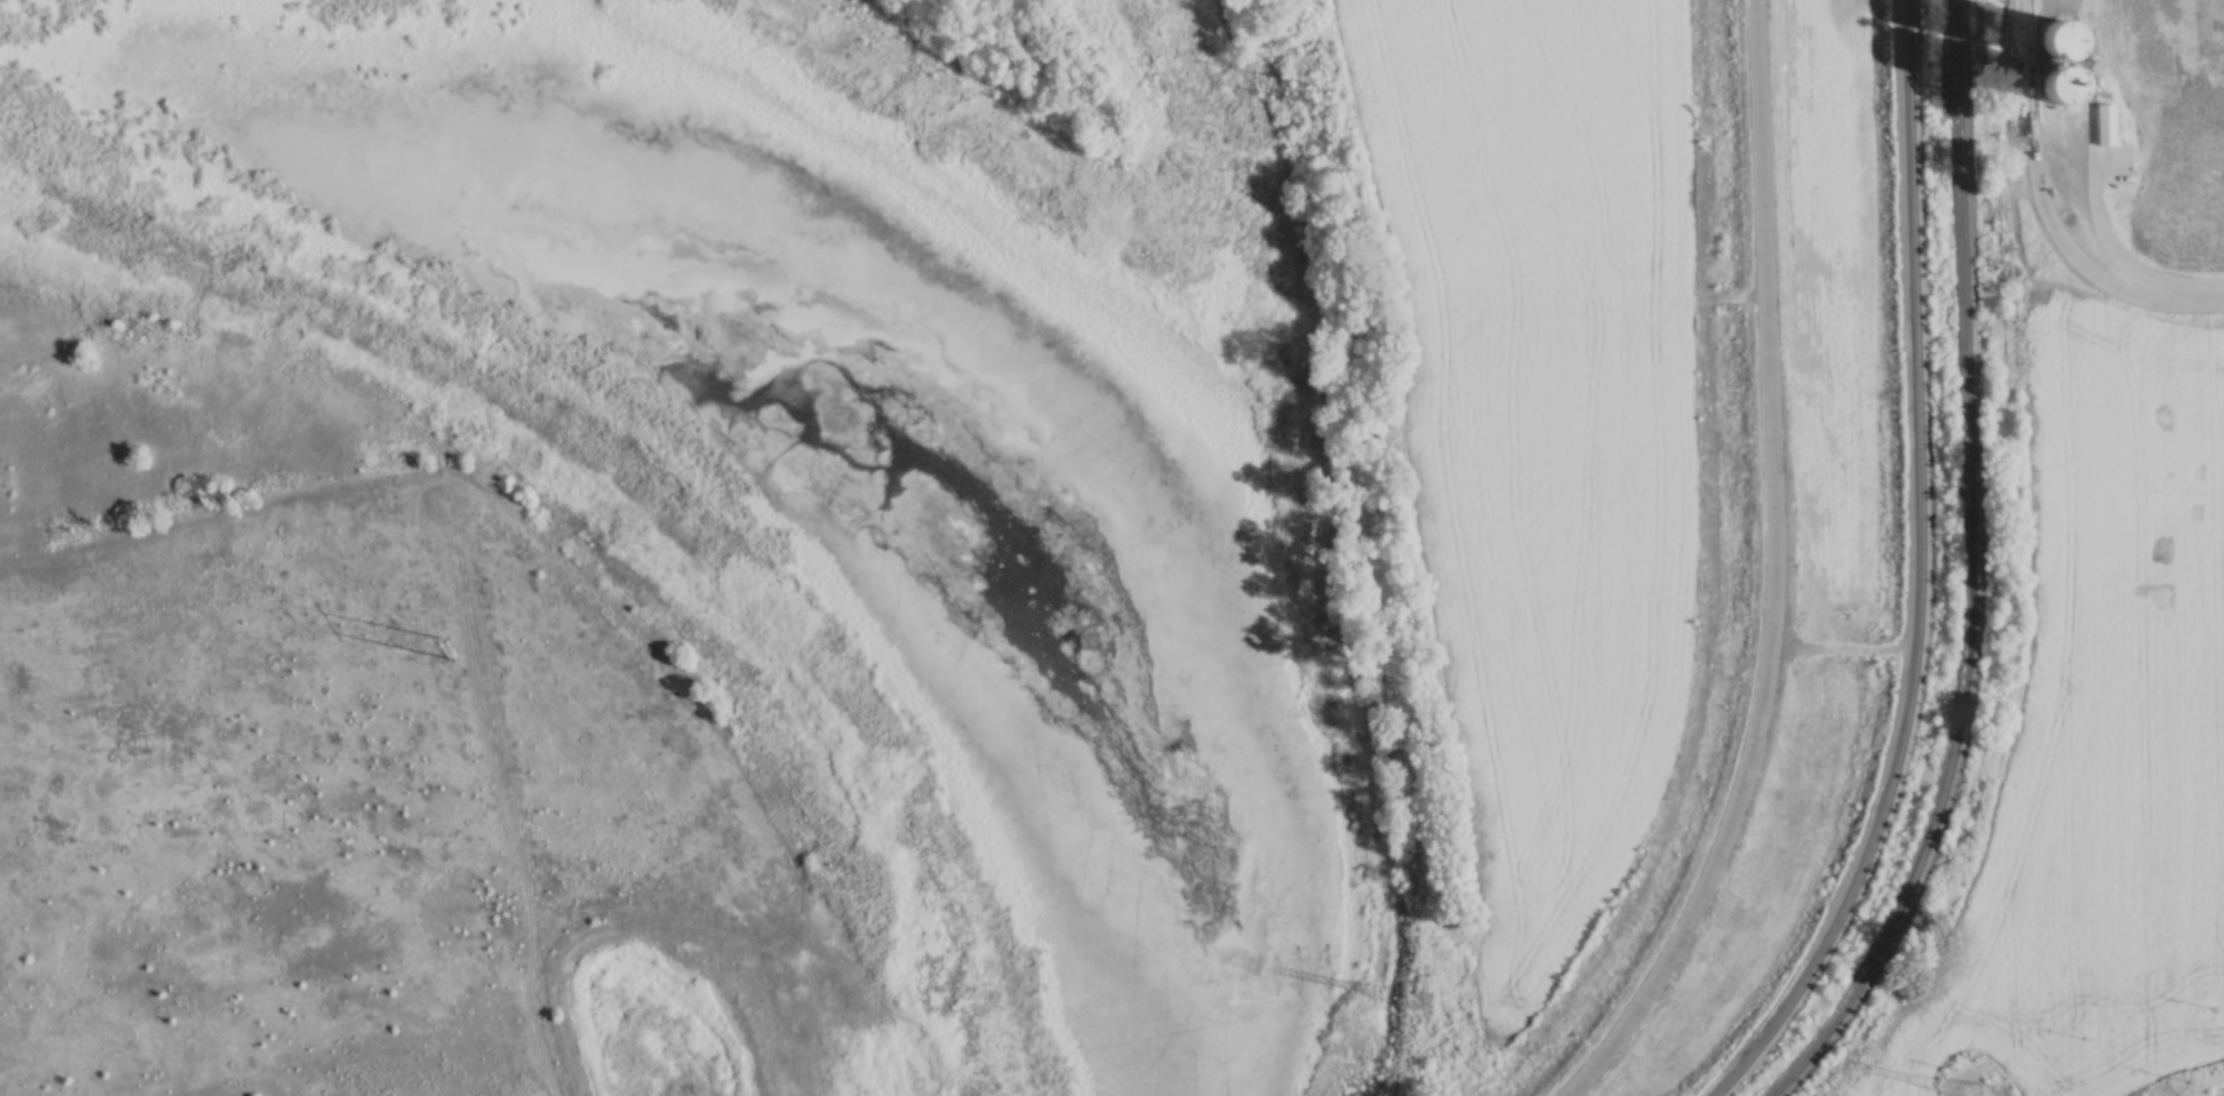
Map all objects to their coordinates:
power tower: (1321, 92)
road: (2092, 163)
road: (2036, 187)
road: (2197, 292)
railway: (1968, 572)
road: (1771, 573)
railway: (1919, 574)
power tower: (445, 644)
power tower: (1420, 1003)
power tower: (1955, 1064)
power tower: (2185, 1077)
power tower: (2003, 1093)

